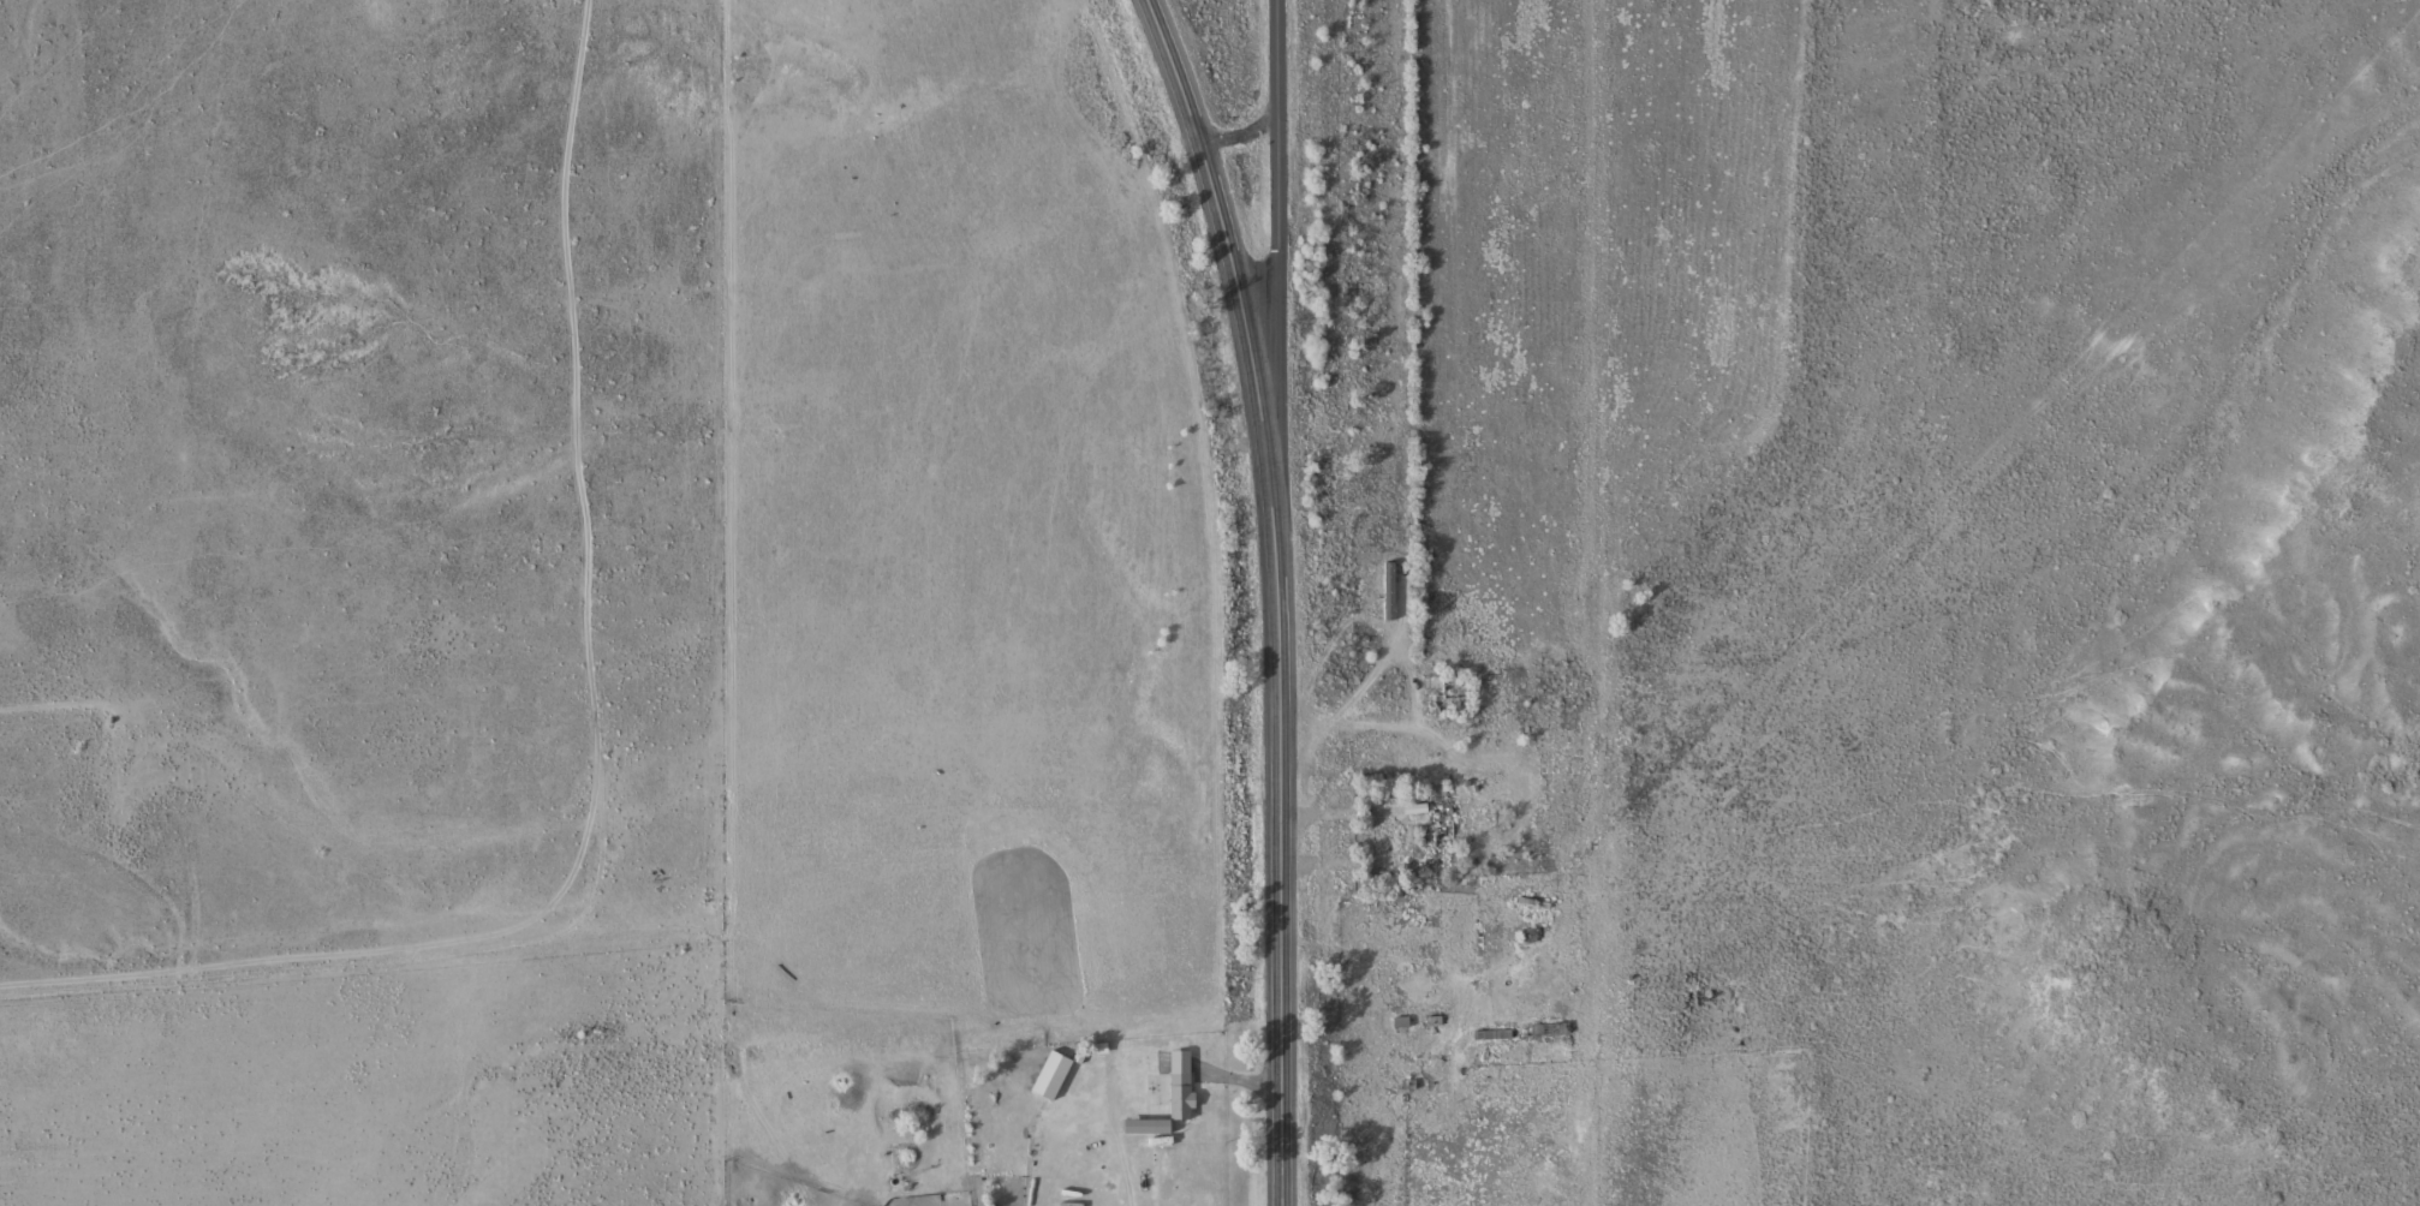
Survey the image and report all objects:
road: (1244, 133)
road: (1282, 322)
building: (1395, 590)
road: (1282, 593)
building: (1540, 901)
building: (1557, 1027)
building: (1190, 1092)
road: (340, 1180)

